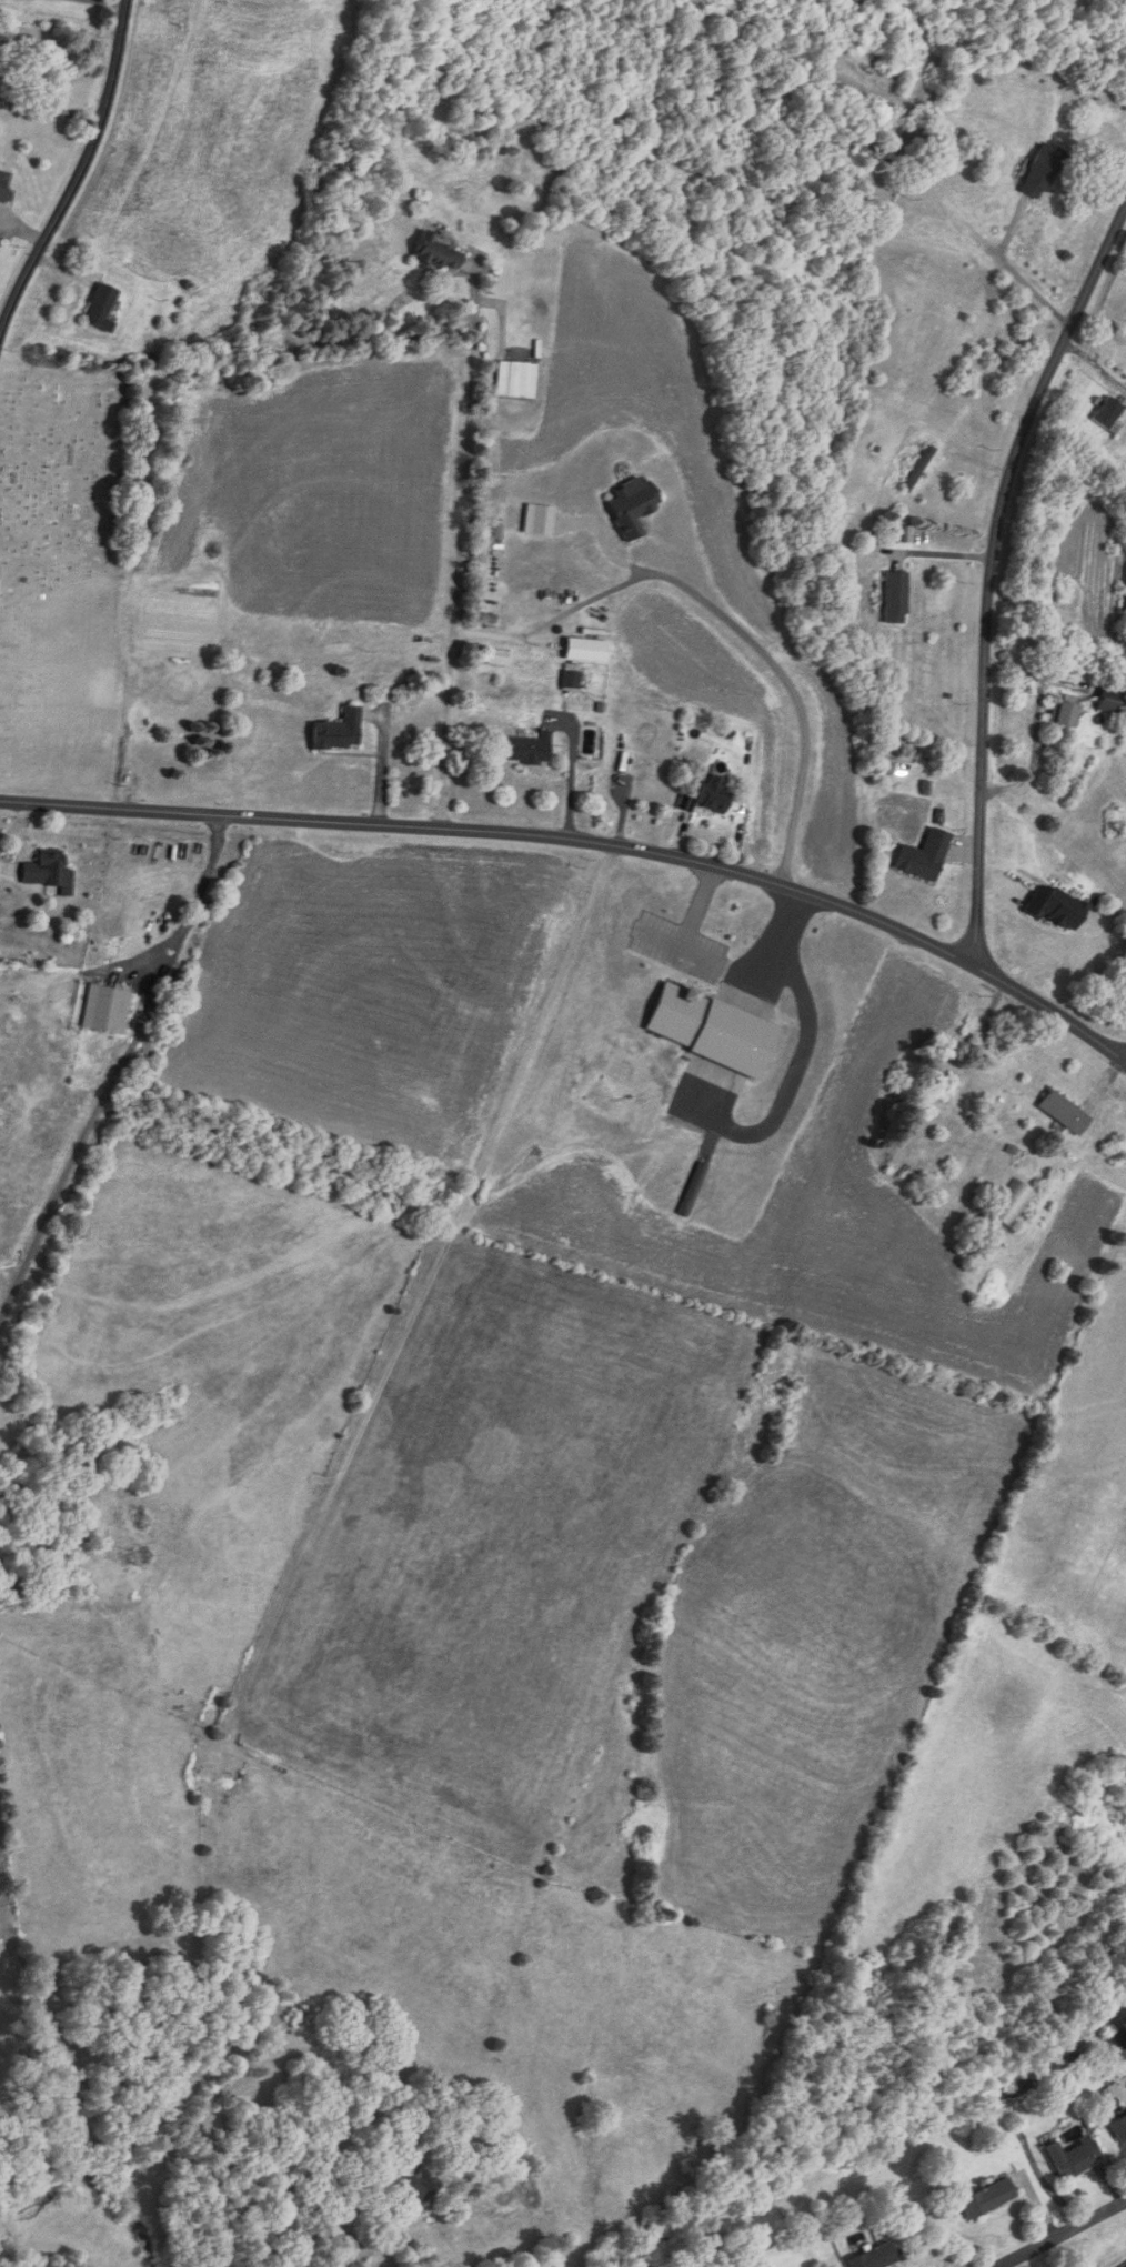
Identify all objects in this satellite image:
road: (109, 2)
road: (50, 110)
building: (868, 137)
building: (1042, 171)
road: (80, 172)
building: (4, 184)
building: (438, 253)
building: (100, 308)
road: (502, 315)
building: (511, 380)
building: (1108, 412)
road: (466, 451)
building: (917, 469)
road: (942, 553)
road: (615, 555)
park: (64, 564)
road: (993, 569)
road: (644, 576)
building: (895, 598)
building: (1122, 640)
building: (584, 650)
building: (571, 678)
building: (1112, 702)
building: (1064, 715)
building: (338, 732)
building: (524, 749)
building: (635, 764)
road: (572, 770)
building: (713, 794)
road: (585, 840)
building: (924, 856)
building: (50, 871)
building: (1056, 909)
road: (660, 937)
road: (721, 965)
building: (107, 1009)
road: (117, 1071)
road: (792, 1081)
building: (935, 1081)
building: (1064, 1113)
building: (1119, 2127)
building: (1073, 2158)
building: (416, 2188)
building: (988, 2198)
road: (1065, 2234)

